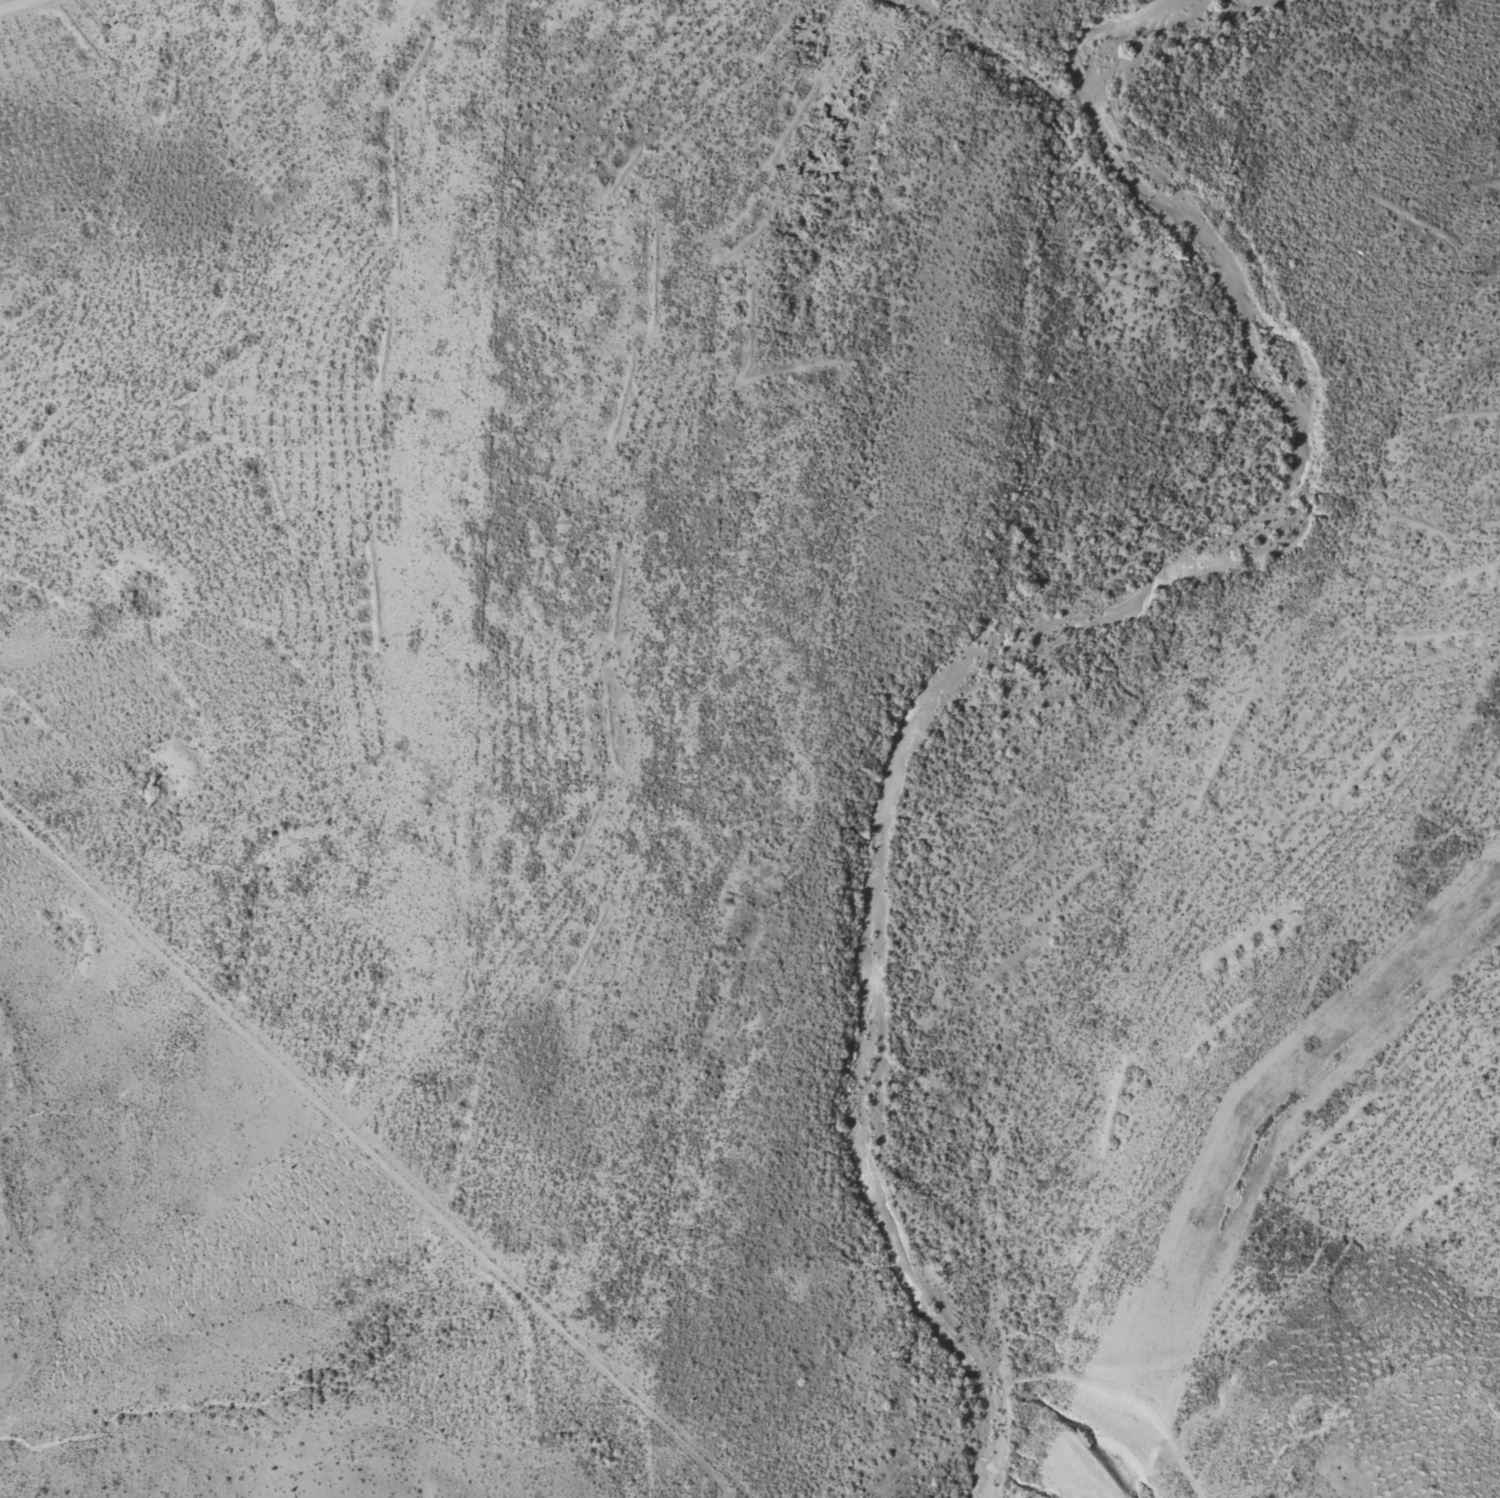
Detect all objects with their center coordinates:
road: (44, 16)

